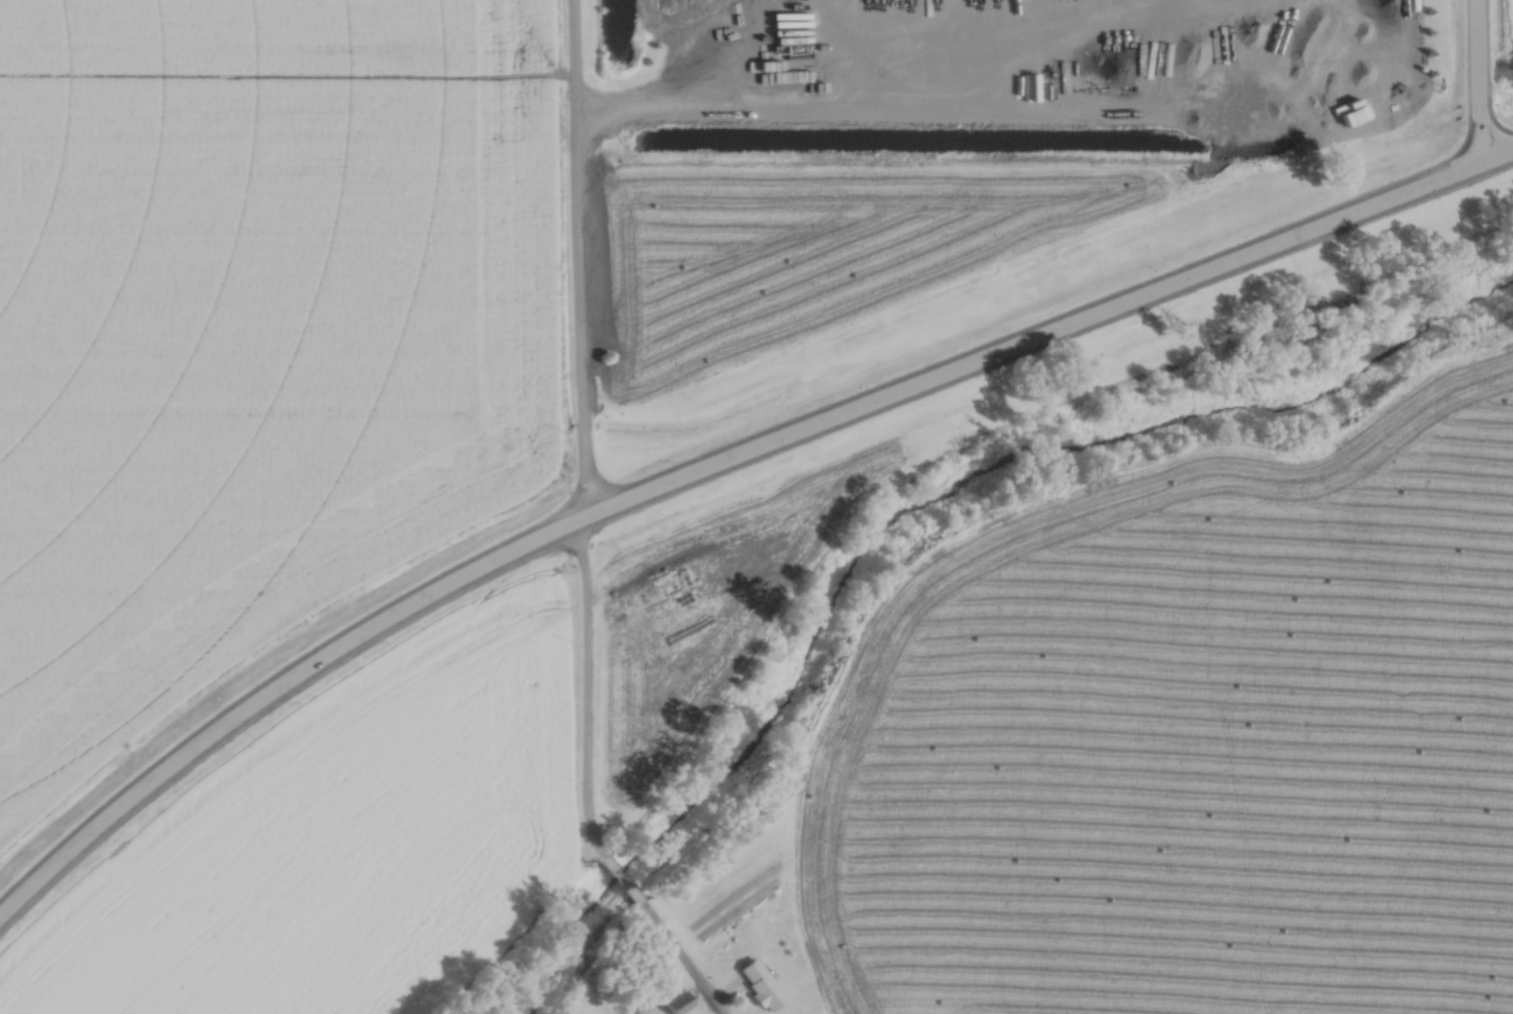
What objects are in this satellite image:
road: (834, 71)
road: (1481, 81)
road: (583, 411)
road: (717, 466)
road: (599, 861)
road: (630, 899)
road: (672, 949)
building: (760, 981)
building: (678, 1000)

